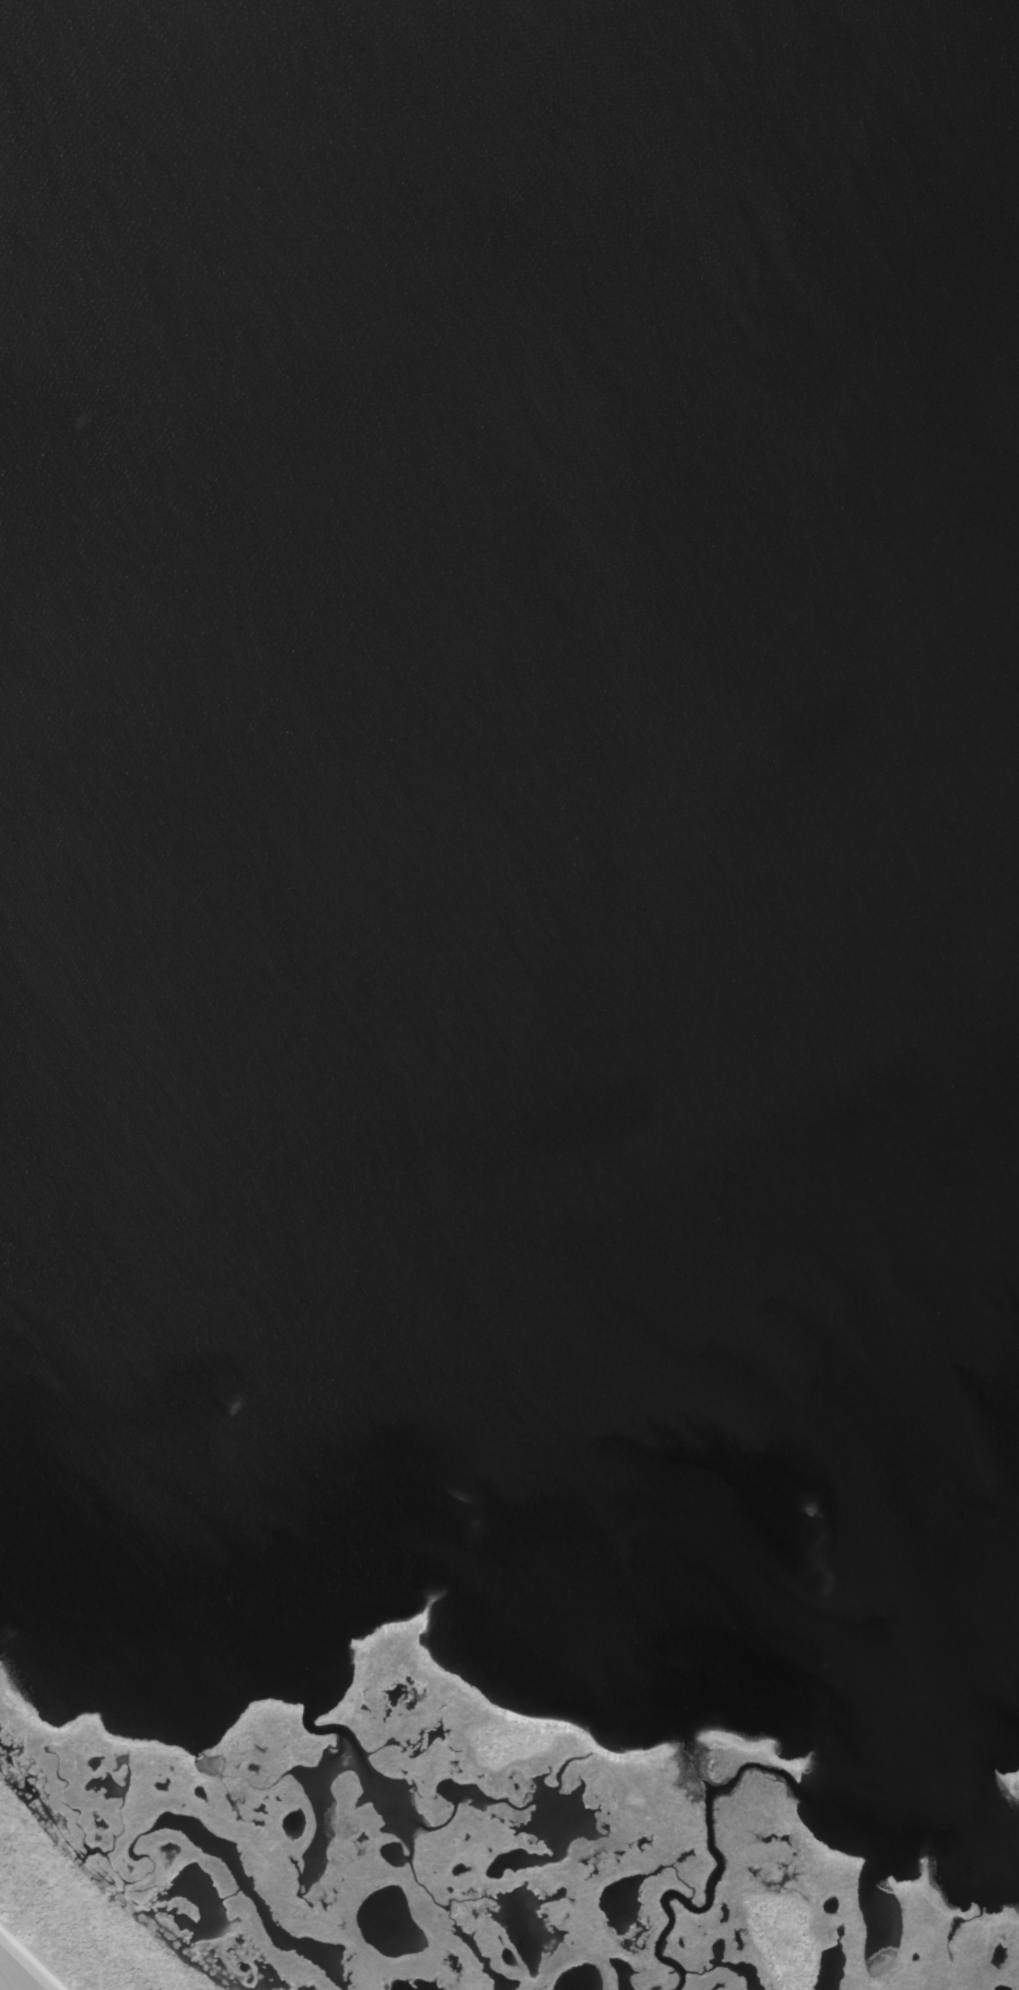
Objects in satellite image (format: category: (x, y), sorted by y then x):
road: (32, 1958)

